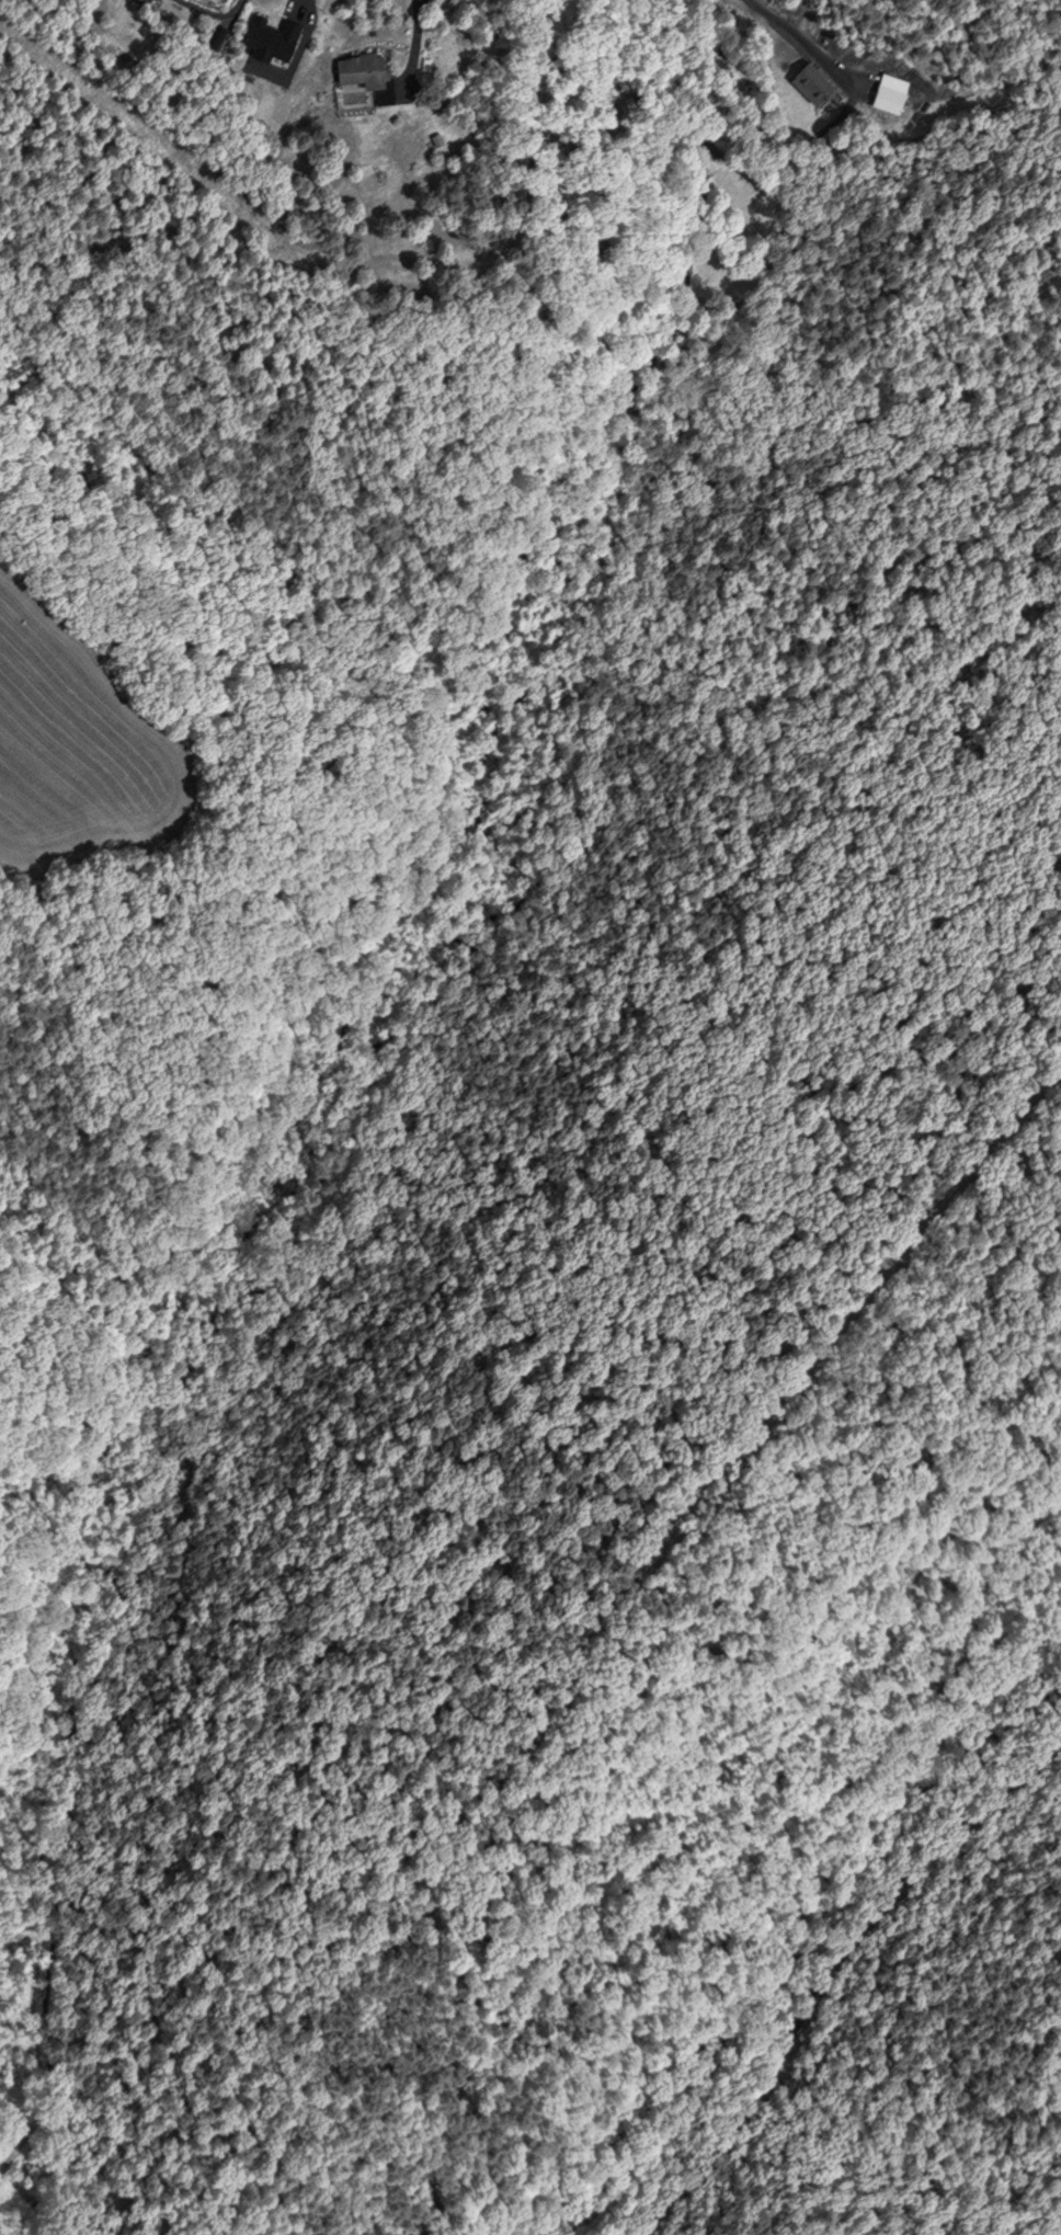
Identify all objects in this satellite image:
road: (808, 42)
road: (412, 49)
building: (360, 73)
building: (810, 82)
building: (886, 98)
road: (725, 155)
road: (1023, 1834)
road: (841, 1950)

